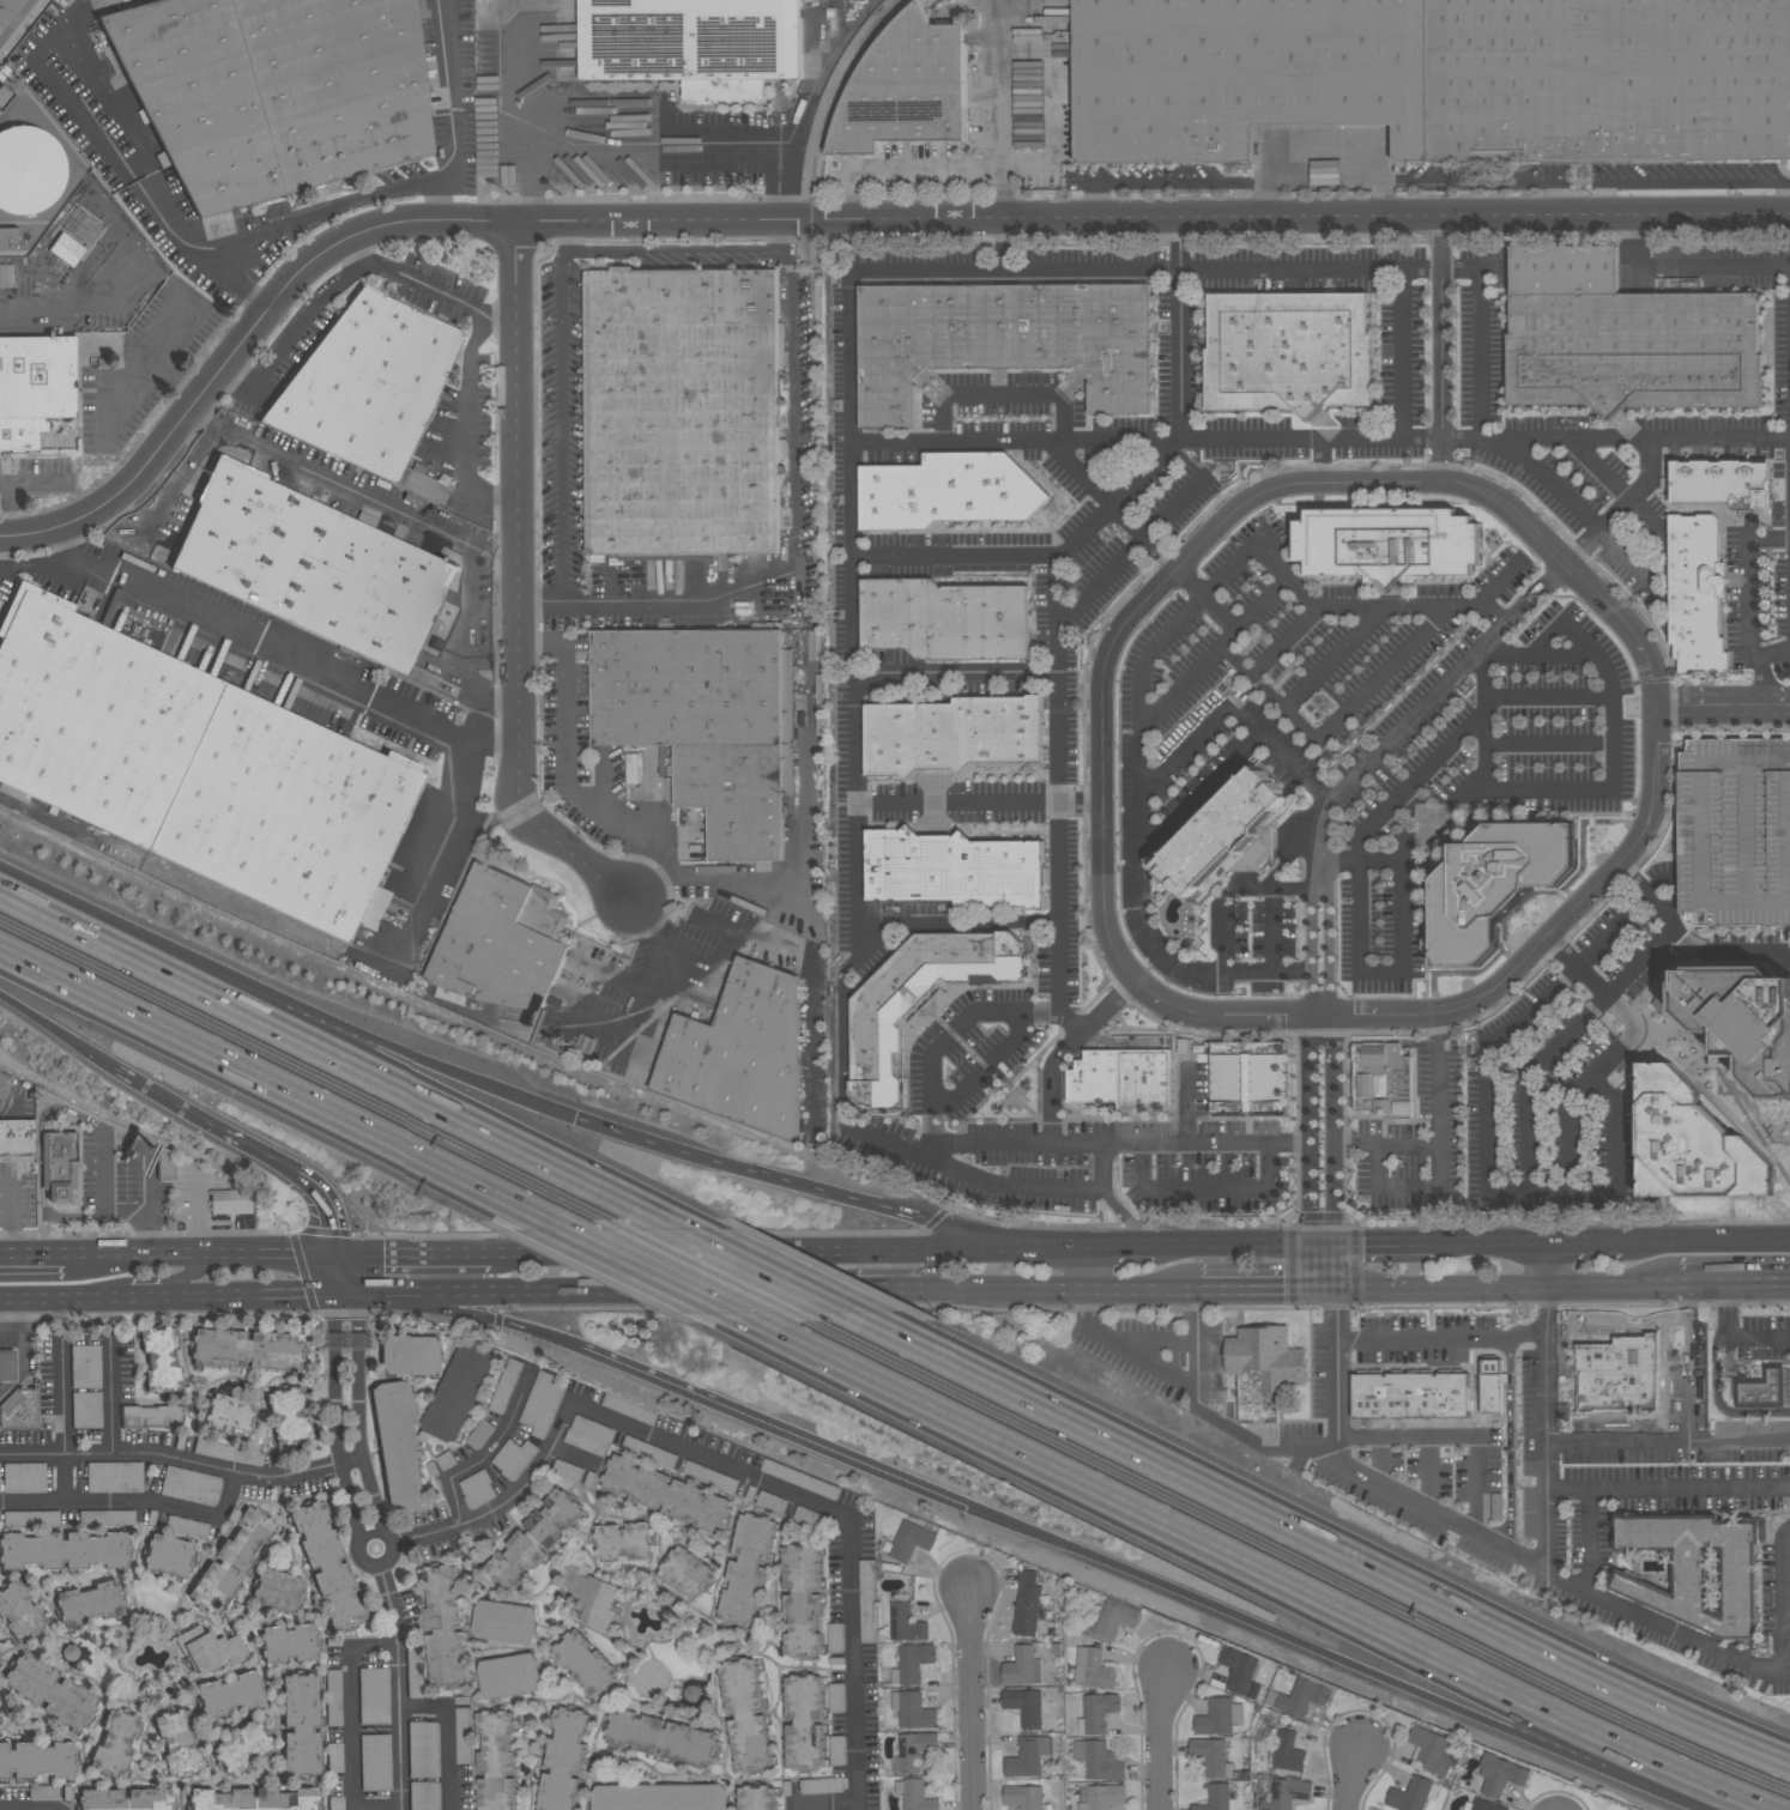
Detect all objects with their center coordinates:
road: (1053, 14)
road: (74, 16)
road: (25, 29)
building: (693, 44)
road: (83, 66)
road: (536, 71)
road: (821, 75)
building: (1434, 78)
building: (907, 87)
railway: (839, 91)
building: (274, 92)
road: (456, 98)
road: (652, 143)
road: (929, 169)
building: (29, 170)
road: (1464, 181)
road: (1177, 183)
road: (1549, 195)
road: (1263, 198)
road: (1383, 198)
road: (1091, 201)
road: (310, 216)
road: (828, 219)
road: (784, 234)
road: (562, 237)
building: (10, 238)
building: (66, 250)
road: (672, 250)
road: (1688, 267)
building: (6, 274)
road: (412, 282)
road: (1177, 326)
road: (295, 329)
road: (1478, 337)
building: (1623, 338)
road: (165, 343)
building: (1002, 343)
road: (1444, 349)
building: (1288, 351)
road: (1398, 351)
road: (149, 367)
building: (368, 386)
building: (35, 387)
road: (999, 393)
road: (792, 400)
building: (681, 411)
road: (465, 416)
road: (562, 426)
road: (1322, 438)
road: (1543, 478)
road: (1401, 483)
building: (1721, 483)
road: (11, 484)
road: (5, 485)
road: (352, 490)
building: (948, 491)
road: (1117, 504)
road: (1625, 506)
road: (171, 507)
road: (853, 537)
building: (1387, 543)
road: (1130, 551)
road: (1039, 556)
building: (312, 567)
road: (56, 568)
road: (515, 589)
building: (1695, 593)
road: (660, 600)
road: (1748, 606)
road: (1377, 609)
road: (1218, 615)
building: (945, 618)
road: (470, 640)
road: (1211, 650)
road: (294, 654)
road: (1773, 654)
railway: (802, 671)
road: (955, 674)
road: (1544, 698)
road: (1723, 708)
road: (1411, 718)
road: (1481, 719)
building: (706, 722)
road: (1202, 730)
building: (951, 733)
road: (1257, 745)
road: (1544, 747)
building: (195, 768)
road: (566, 775)
road: (1408, 786)
road: (1586, 793)
road: (1060, 799)
road: (957, 805)
road: (441, 813)
road: (52, 818)
road: (1141, 825)
building: (1735, 831)
building: (1220, 833)
road: (1287, 858)
building: (953, 870)
road: (721, 877)
building: (1494, 883)
road: (1232, 890)
road: (959, 926)
road: (1319, 939)
building: (502, 940)
road: (1728, 951)
road: (722, 952)
road: (1639, 962)
road: (1381, 974)
road: (666, 994)
building: (918, 998)
road: (289, 1004)
building: (1742, 1018)
road: (58, 1030)
road: (949, 1035)
road: (1065, 1049)
building: (740, 1053)
road: (334, 1057)
road: (1310, 1076)
road: (1334, 1076)
building: (1246, 1077)
road: (1531, 1077)
building: (1123, 1078)
building: (1381, 1078)
road: (280, 1080)
building: (4, 1086)
road: (170, 1100)
road: (1186, 1104)
traffic signals: (579, 1118)
road: (121, 1138)
building: (17, 1140)
road: (1359, 1142)
road: (1121, 1143)
building: (1693, 1143)
road: (40, 1146)
road: (1438, 1148)
road: (1410, 1149)
road: (1619, 1149)
building: (59, 1164)
road: (304, 1173)
road: (757, 1173)
road: (1519, 1186)
road: (1208, 1188)
road: (1335, 1192)
road: (1312, 1193)
building: (230, 1201)
road: (1111, 1201)
road: (200, 1213)
road: (78, 1216)
road: (12, 1217)
road: (988, 1234)
road: (1706, 1241)
road: (1585, 1242)
road: (1490, 1243)
road: (1380, 1245)
road: (1240, 1246)
road: (1120, 1247)
road: (788, 1251)
road: (415, 1253)
road: (201, 1254)
traffic signals: (340, 1254)
road: (31, 1257)
road: (944, 1257)
road: (651, 1264)
road: (1332, 1266)
road: (762, 1267)
road: (185, 1275)
road: (337, 1275)
road: (349, 1275)
road: (1768, 1282)
road: (1713, 1283)
road: (1507, 1284)
road: (1268, 1288)
road: (889, 1289)
road: (1062, 1289)
road: (606, 1293)
road: (346, 1295)
traffic signals: (358, 1295)
traffic signals: (334, 1296)
road: (259, 1297)
road: (64, 1300)
road: (156, 1300)
road: (473, 1314)
road: (1113, 1334)
road: (1443, 1337)
road: (1730, 1338)
building: (346, 1343)
building: (247, 1350)
building: (411, 1355)
building: (161, 1360)
road: (22, 1363)
road: (1687, 1363)
building: (7, 1366)
building: (85, 1367)
parking lot: (85, 1367)
building: (1262, 1369)
building: (1617, 1369)
gas station: (19, 1375)
road: (1338, 1381)
building: (1490, 1384)
building: (506, 1385)
parking lot: (506, 1386)
building: (1764, 1387)
building: (460, 1392)
building: (1410, 1394)
road: (65, 1398)
road: (113, 1398)
building: (542, 1404)
parking lot: (542, 1404)
road: (1547, 1408)
building: (629, 1409)
building: (19, 1410)
building: (86, 1410)
parking lot: (87, 1410)
parking lot: (630, 1410)
road: (359, 1412)
building: (230, 1416)
building: (290, 1416)
building: (152, 1417)
road: (337, 1417)
road: (776, 1429)
parking lot: (480, 1434)
road: (1457, 1434)
building: (588, 1435)
parking lot: (589, 1435)
road: (1669, 1445)
building: (399, 1447)
parking lot: (649, 1452)
building: (228, 1453)
parking lot: (229, 1453)
road: (491, 1453)
road: (577, 1457)
building: (514, 1458)
parking lot: (514, 1458)
parking lot: (447, 1460)
road: (183, 1463)
road: (1375, 1463)
road: (1319, 1465)
road: (736, 1469)
parking lot: (569, 1470)
road: (1426, 1475)
building: (709, 1476)
building: (114, 1477)
parking lot: (115, 1477)
parking lot: (712, 1477)
building: (23, 1478)
parking lot: (24, 1478)
building: (800, 1478)
parking lot: (802, 1479)
road: (61, 1481)
parking lot: (0, 1483)
building: (189, 1487)
parking lot: (191, 1487)
road: (1669, 1487)
building: (477, 1489)
parking lot: (479, 1489)
building: (667, 1494)
parking lot: (772, 1501)
road: (137, 1505)
traffic signals: (968, 1508)
parking lot: (809, 1517)
building: (105, 1518)
parking lot: (107, 1518)
building: (30, 1519)
parking lot: (31, 1519)
building: (186, 1526)
parking lot: (186, 1527)
road: (1323, 1537)
building: (536, 1539)
building: (911, 1540)
road: (1589, 1540)
building: (624, 1542)
building: (64, 1551)
building: (169, 1557)
building: (231, 1562)
building: (328, 1564)
road: (374, 1567)
building: (1695, 1567)
building: (748, 1569)
building: (685, 1572)
road: (1241, 1574)
building: (278, 1592)
building: (592, 1594)
building: (802, 1599)
building: (867, 1600)
building: (1027, 1603)
building: (91, 1604)
building: (22, 1610)
building: (1114, 1618)
building: (905, 1621)
building: (504, 1622)
road: (1250, 1622)
building: (445, 1628)
building: (834, 1638)
parking lot: (836, 1638)
building: (289, 1645)
building: (211, 1649)
building: (71, 1653)
road: (1725, 1654)
building: (911, 1663)
building: (585, 1664)
building: (1022, 1666)
building: (1093, 1667)
building: (1238, 1667)
parking lot: (415, 1671)
building: (510, 1676)
park: (651, 1678)
road: (400, 1688)
building: (52, 1690)
building: (691, 1691)
building: (234, 1695)
building: (374, 1696)
parking lot: (374, 1696)
building: (835, 1697)
parking lot: (836, 1697)
road: (970, 1697)
building: (1299, 1697)
building: (333, 1699)
parking lot: (334, 1699)
road: (350, 1703)
building: (1028, 1708)
building: (913, 1709)
building: (1096, 1712)
building: (746, 1713)
building: (1218, 1717)
building: (805, 1720)
building: (302, 1725)
road: (449, 1735)
building: (461, 1736)
parking lot: (464, 1736)
building: (664, 1739)
road: (1163, 1739)
building: (181, 1741)
building: (116, 1743)
building: (246, 1748)
parking lot: (423, 1749)
building: (915, 1749)
building: (422, 1750)
building: (836, 1750)
parking lot: (837, 1750)
building: (1431, 1750)
building: (1288, 1751)
building: (1211, 1755)
building: (1027, 1756)
building: (334, 1757)
parking lot: (335, 1757)
building: (563, 1758)
building: (497, 1760)
building: (1099, 1760)
building: (38, 1761)
building: (375, 1763)
parking lot: (375, 1763)
building: (1499, 1774)
road: (1351, 1779)
building: (821, 1785)
parking lot: (822, 1785)
building: (43, 1793)
building: (1287, 1793)
building: (1413, 1793)
parking lot: (44, 1794)
building: (915, 1794)
building: (423, 1796)
parking lot: (424, 1796)
building: (1023, 1796)
building: (1100, 1796)
building: (1215, 1797)
building: (661, 1798)
building: (757, 1798)
building: (126, 1799)
building: (254, 1799)
building: (335, 1803)
parking lot: (335, 1804)
building: (1482, 1805)
road: (377, 1808)
road: (826, 1808)

